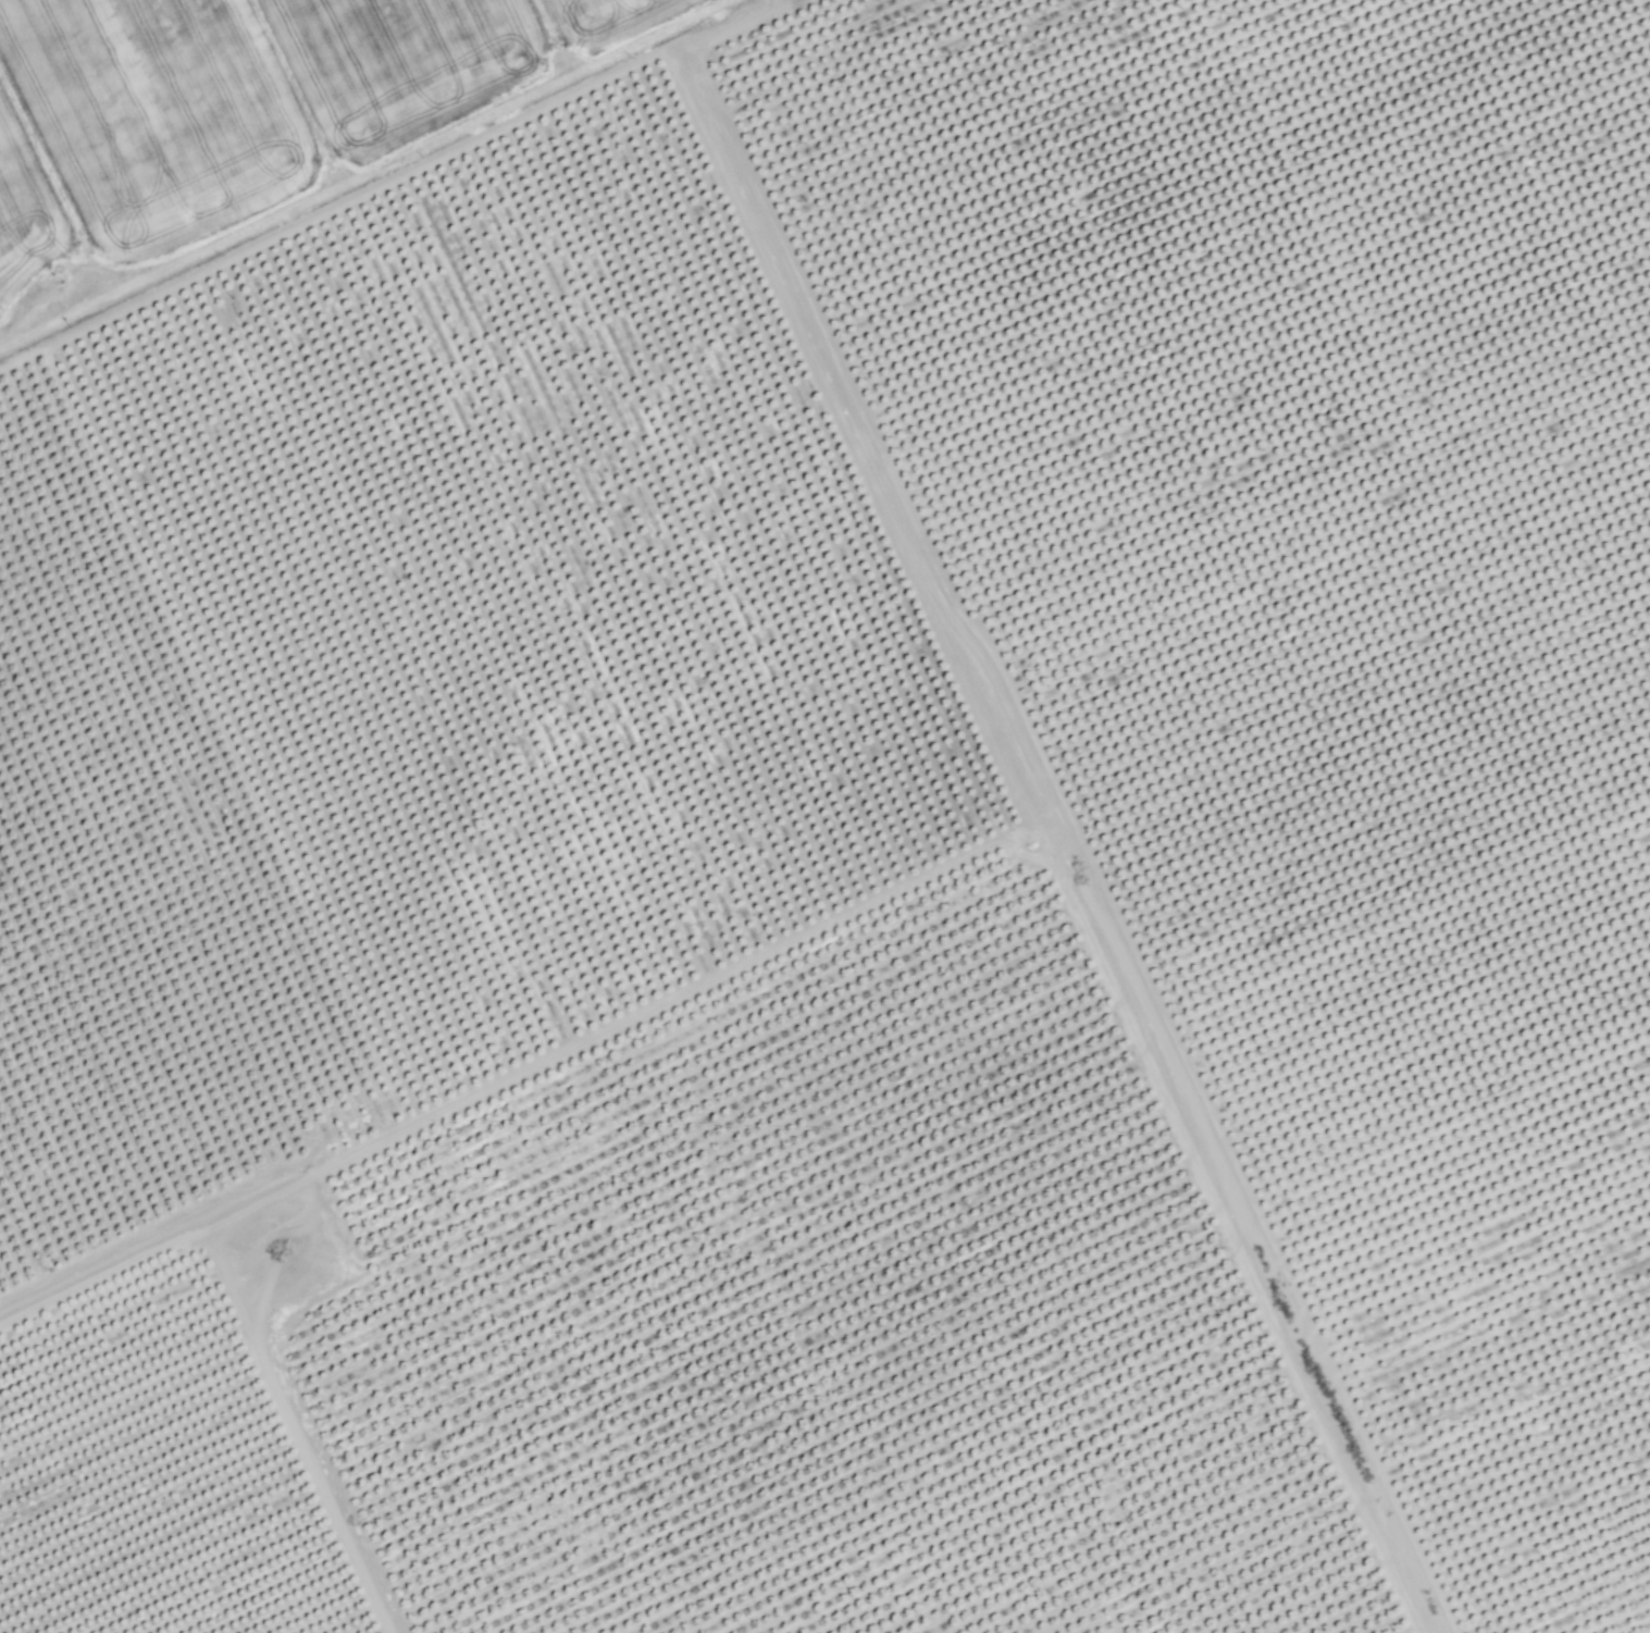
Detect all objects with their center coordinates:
road: (1642, 13)
road: (355, 165)
road: (1024, 832)
road: (507, 1067)
road: (214, 1450)

